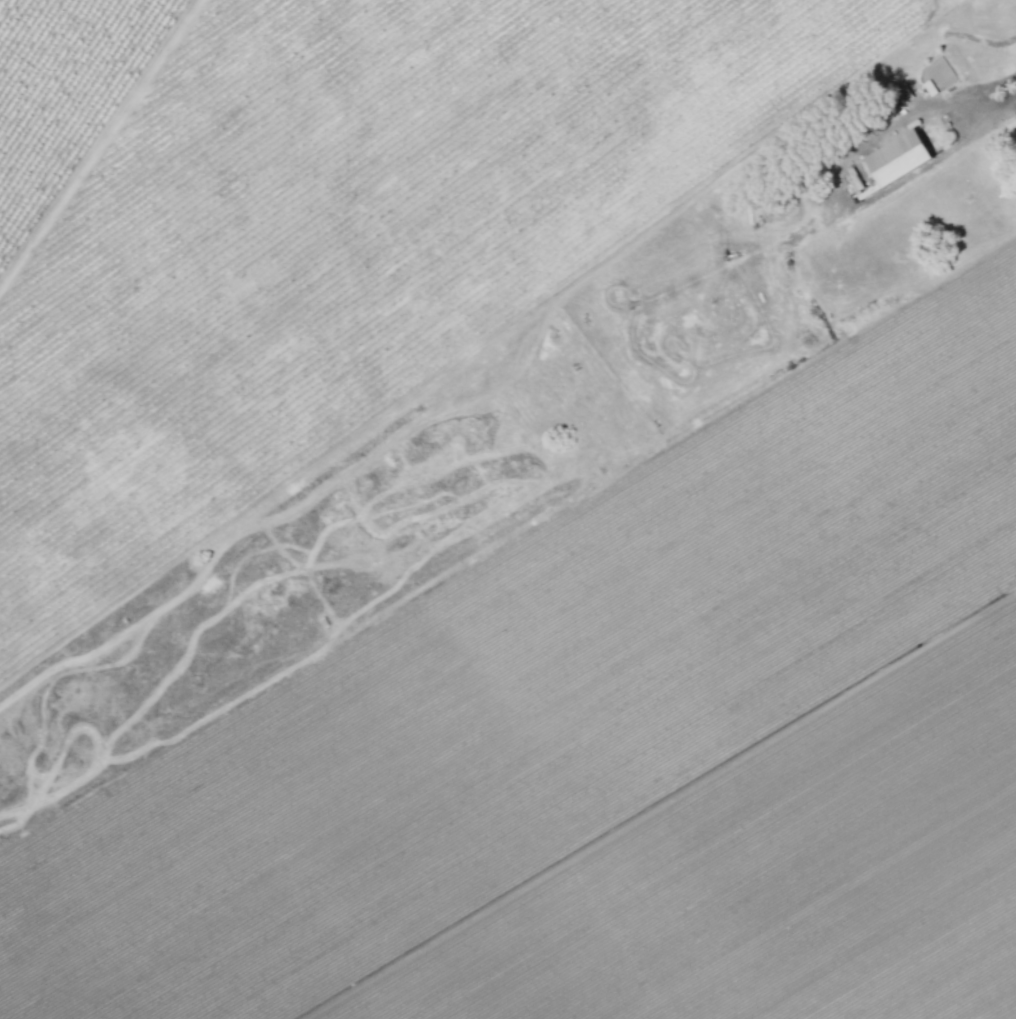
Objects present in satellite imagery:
road: (973, 97)

